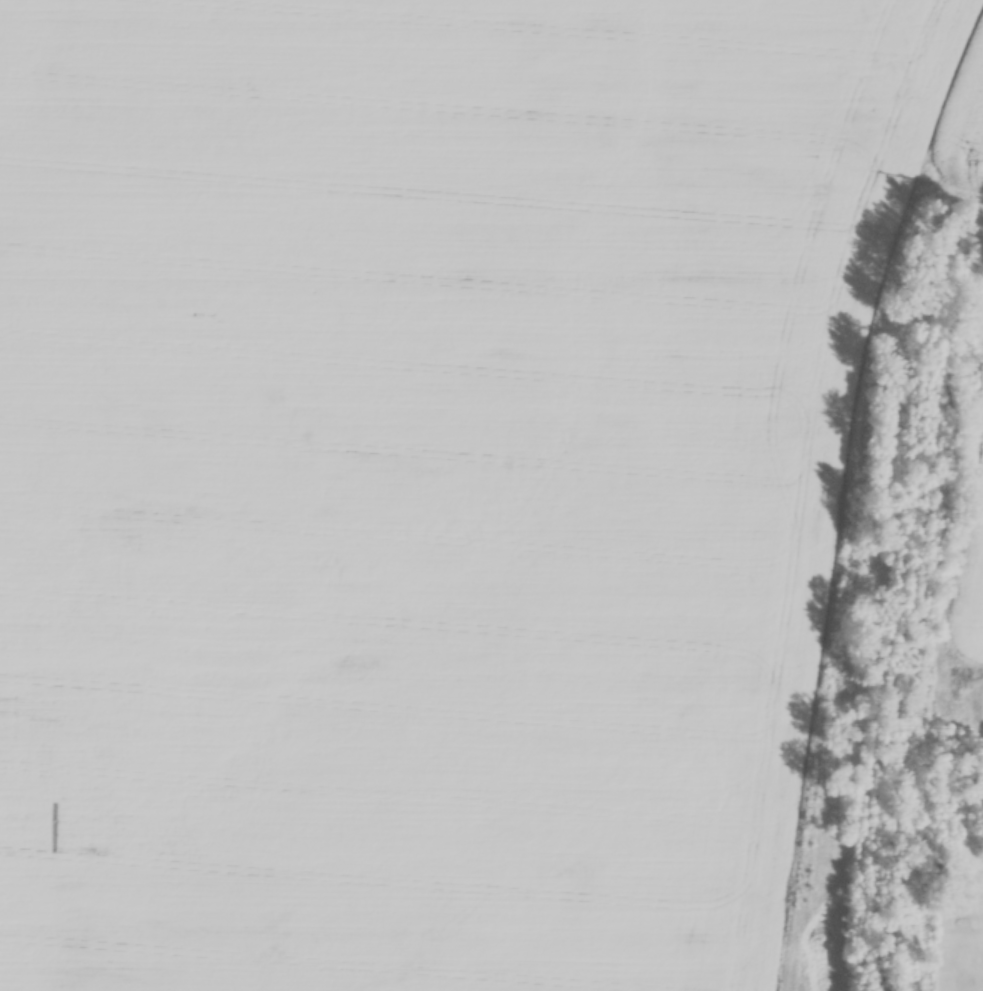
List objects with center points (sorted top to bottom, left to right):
road: (982, 727)

